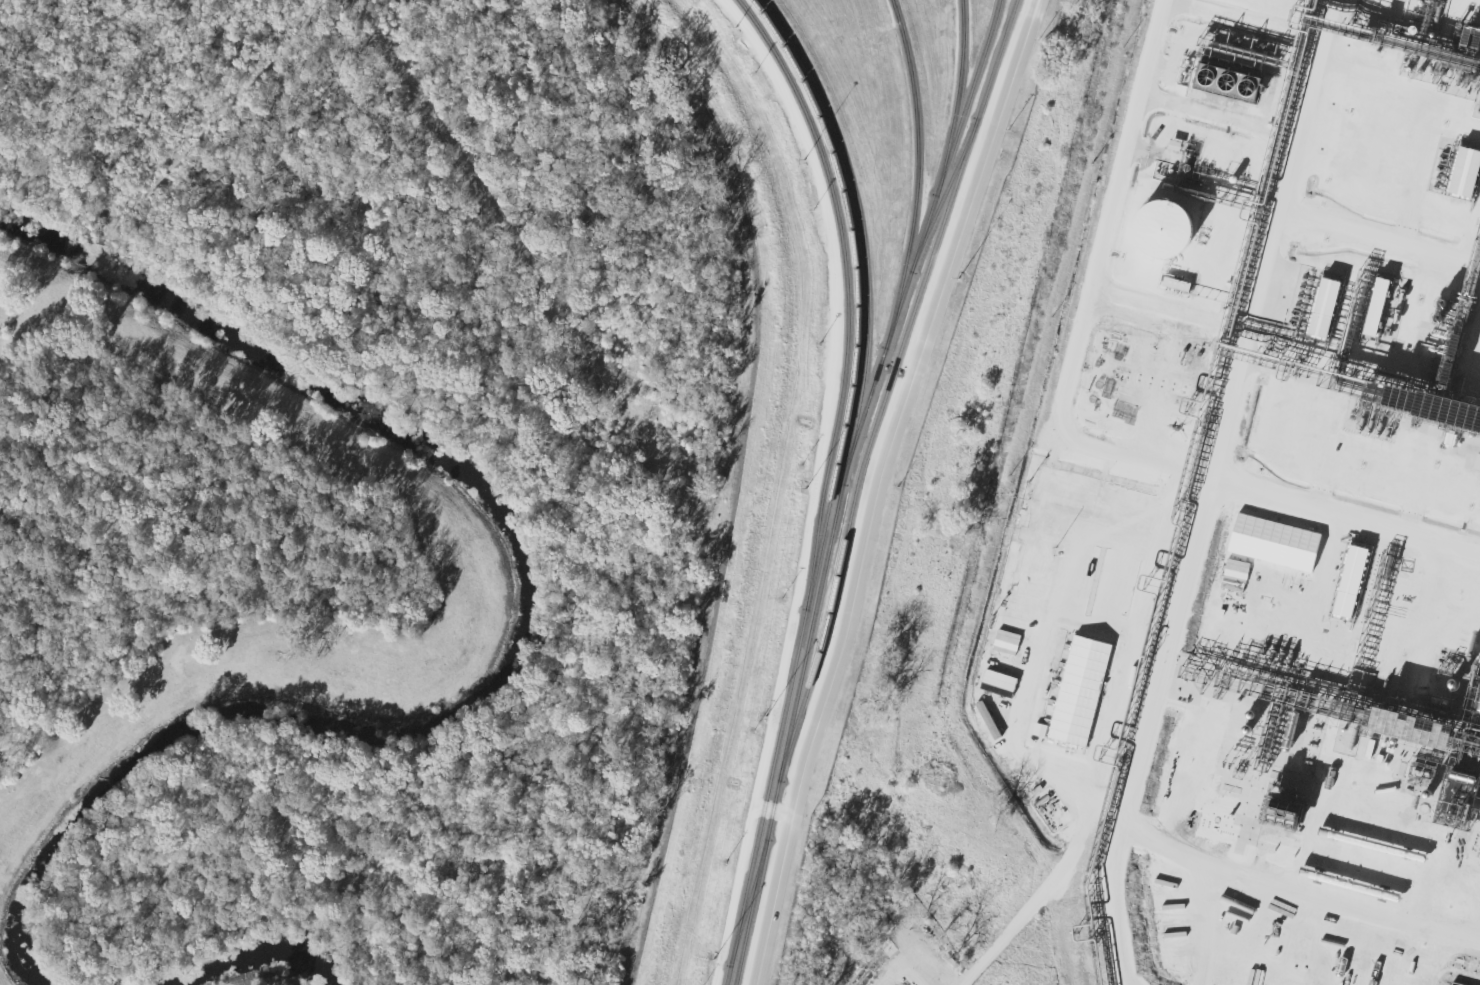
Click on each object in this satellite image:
railway: (958, 90)
building: (1362, 143)
railway: (918, 165)
building: (1458, 173)
railway: (946, 189)
building: (1154, 232)
railway: (922, 238)
railway: (846, 286)
building: (1370, 308)
building: (1317, 310)
railway: (888, 386)
building: (1439, 398)
railway: (832, 485)
railway: (841, 486)
road: (874, 487)
building: (1091, 496)
road: (1204, 522)
building: (1032, 555)
river: (513, 639)
river: (240, 957)

